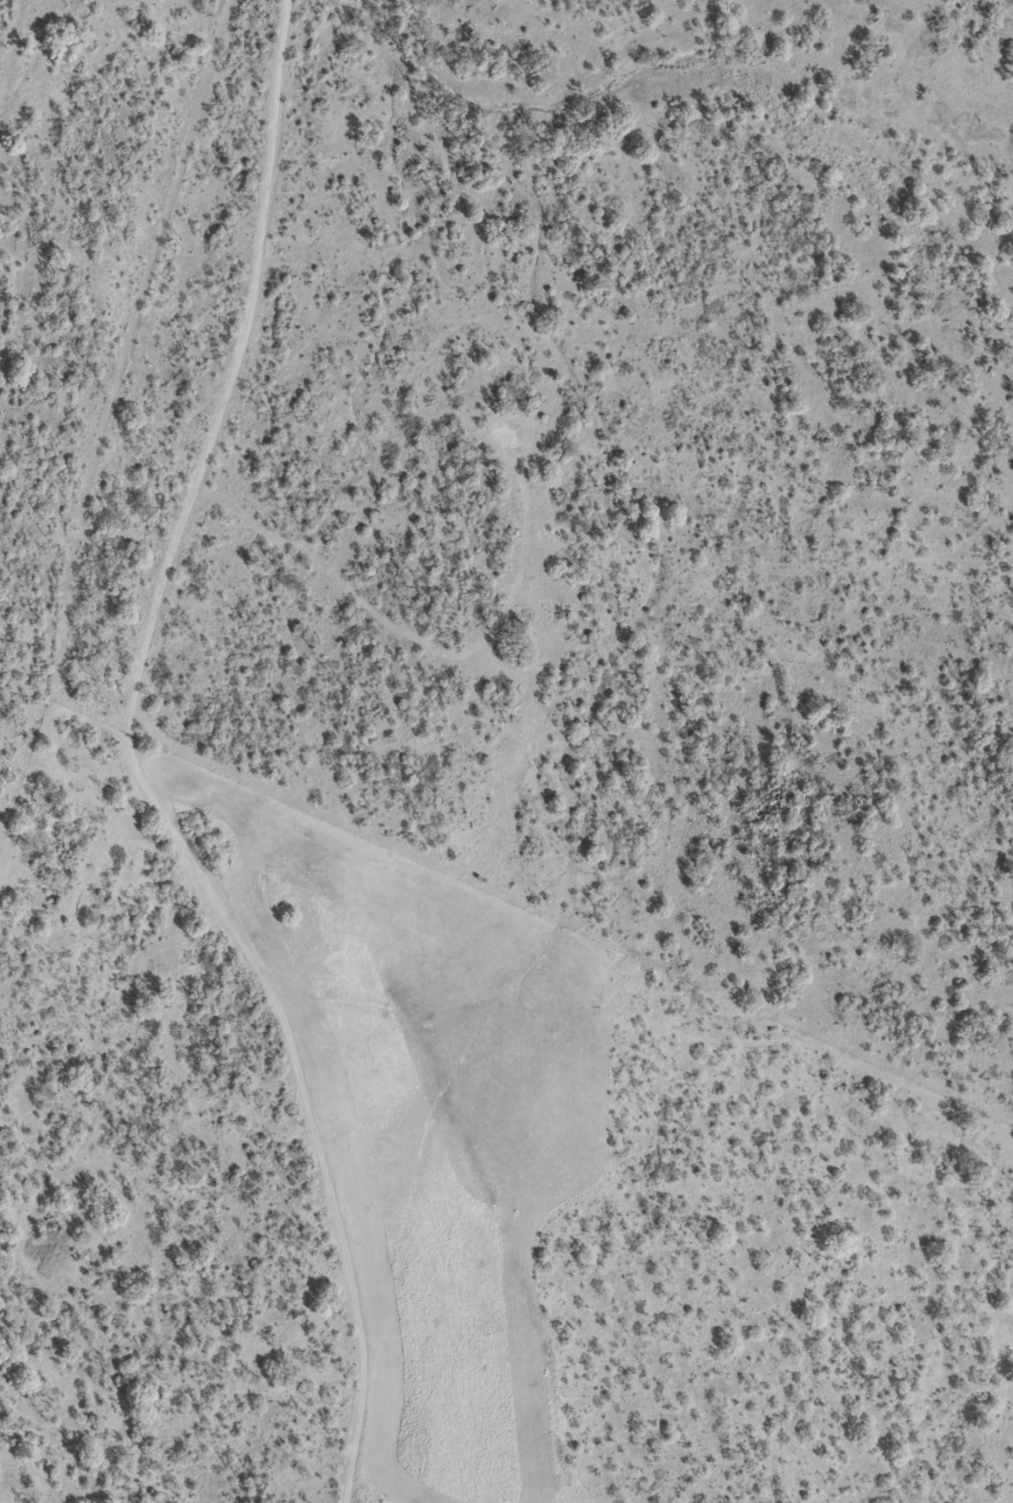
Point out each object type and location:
road: (219, 784)
road: (301, 1105)

